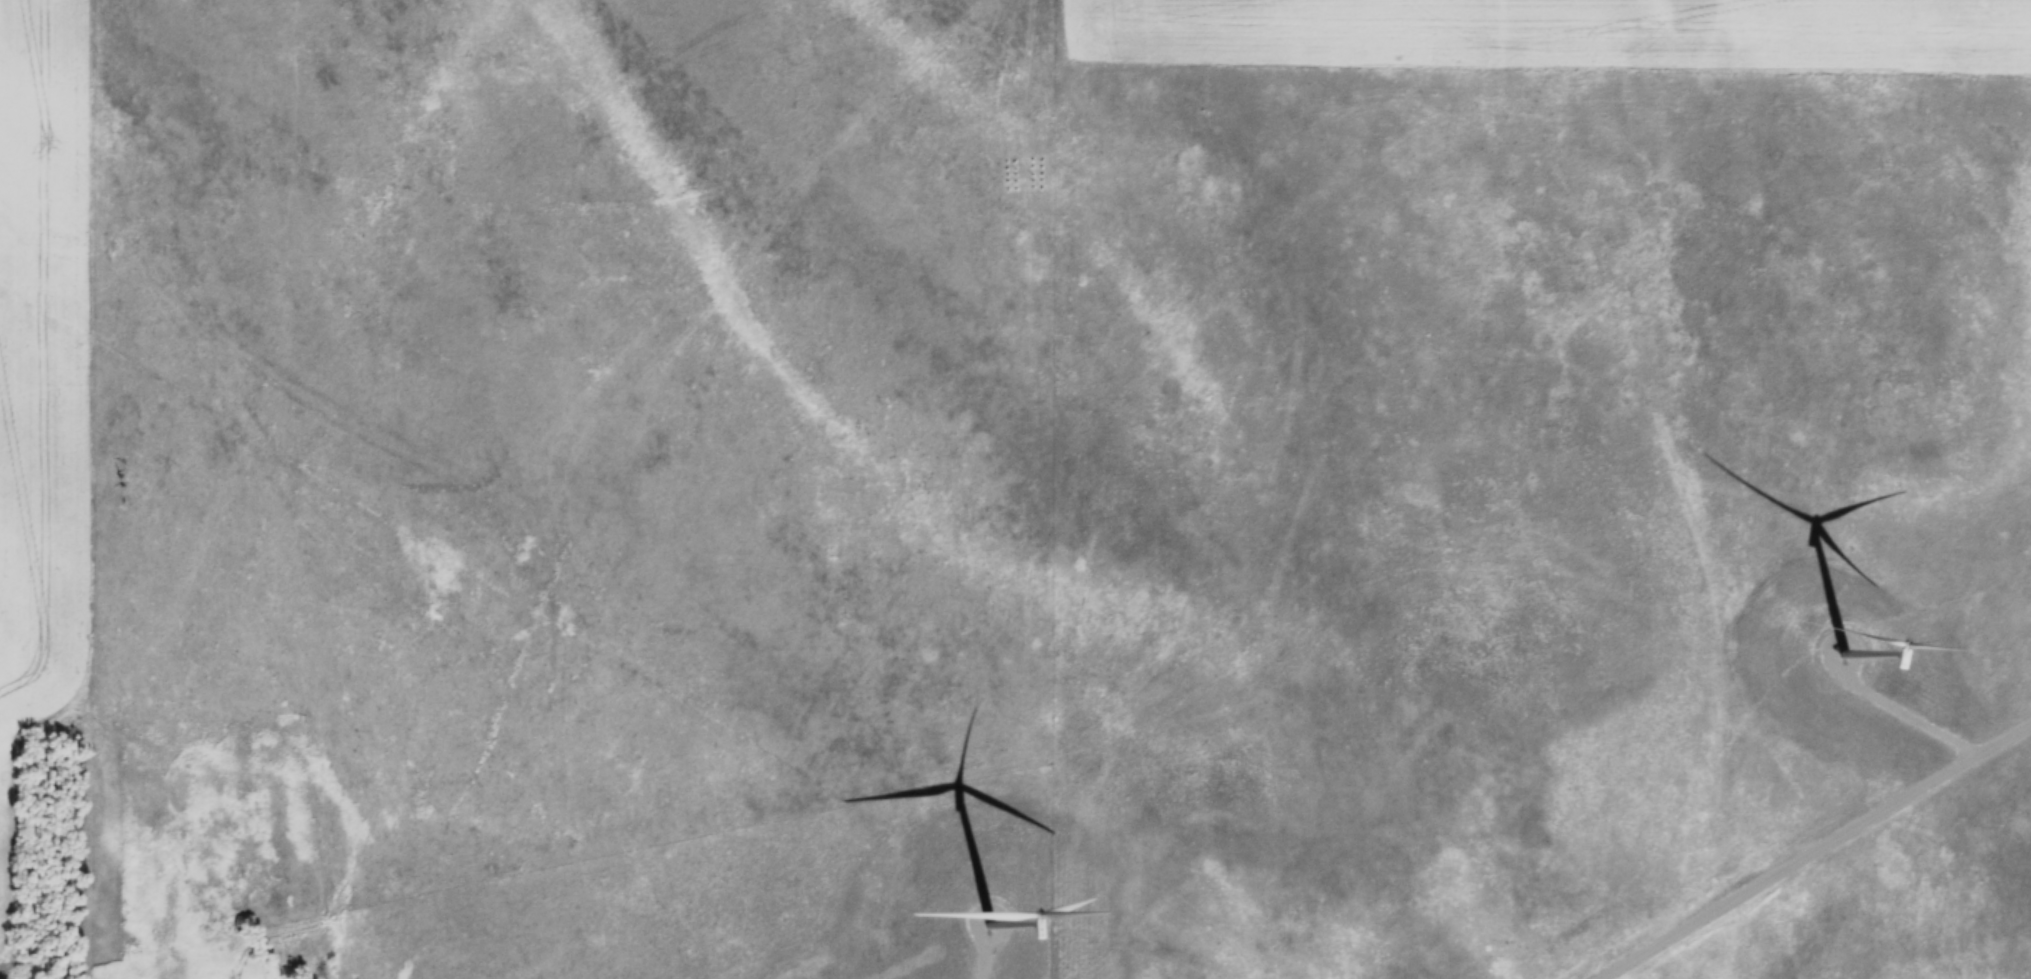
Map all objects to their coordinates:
wind turbine: (1844, 652)
wind turbine: (989, 922)

